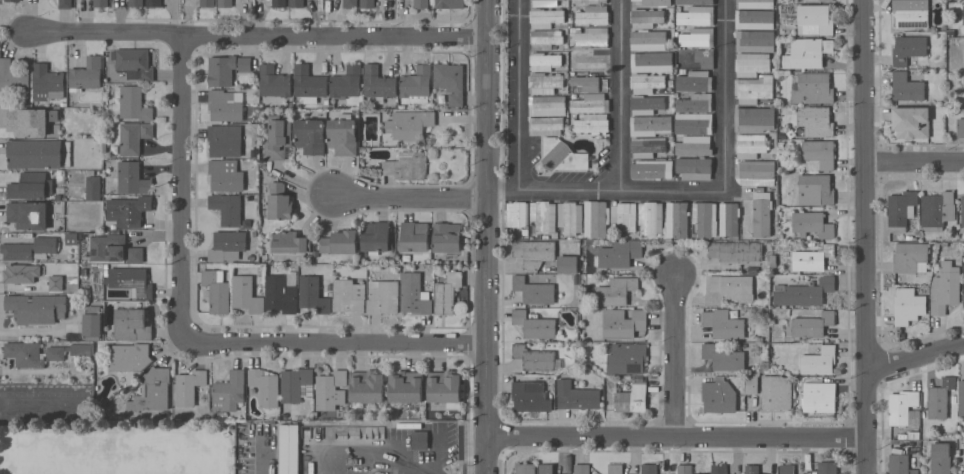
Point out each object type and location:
building: (12, 0)
building: (814, 0)
building: (591, 1)
building: (136, 2)
building: (696, 2)
building: (100, 3)
building: (154, 3)
building: (207, 3)
building: (225, 3)
building: (279, 3)
building: (296, 3)
building: (350, 3)
building: (367, 3)
building: (421, 3)
building: (450, 3)
building: (549, 3)
building: (650, 3)
building: (756, 3)
building: (65, 4)
building: (911, 13)
building: (963, 14)
building: (594, 15)
building: (697, 15)
building: (546, 17)
building: (646, 17)
building: (754, 18)
building: (816, 19)
road: (259, 35)
building: (589, 36)
building: (698, 37)
building: (546, 38)
building: (649, 39)
building: (755, 40)
building: (908, 48)
building: (808, 52)
building: (705, 57)
building: (589, 59)
building: (544, 61)
building: (652, 61)
building: (134, 63)
building: (752, 63)
building: (226, 69)
building: (86, 74)
building: (13, 77)
building: (274, 81)
building: (450, 81)
building: (586, 81)
building: (695, 81)
building: (545, 82)
building: (647, 82)
building: (47, 83)
building: (346, 83)
building: (378, 83)
building: (309, 84)
building: (416, 85)
building: (907, 87)
building: (754, 88)
building: (813, 88)
road: (726, 94)
road: (620, 96)
road: (523, 97)
building: (132, 102)
building: (695, 102)
building: (590, 103)
building: (646, 104)
building: (225, 105)
building: (548, 105)
building: (754, 118)
building: (31, 120)
building: (816, 120)
building: (911, 121)
building: (592, 123)
building: (693, 123)
building: (410, 124)
building: (650, 124)
building: (547, 125)
building: (960, 127)
building: (343, 134)
building: (310, 135)
building: (133, 136)
building: (277, 137)
building: (225, 139)
building: (751, 144)
building: (694, 145)
building: (647, 146)
building: (34, 153)
building: (818, 154)
building: (562, 155)
building: (406, 165)
road: (915, 165)
building: (695, 167)
building: (652, 168)
building: (756, 172)
building: (226, 174)
building: (132, 178)
building: (31, 185)
road: (185, 186)
building: (93, 187)
building: (816, 189)
road: (607, 192)
road: (406, 194)
building: (280, 201)
building: (227, 208)
building: (901, 209)
building: (937, 209)
building: (129, 210)
building: (963, 210)
building: (762, 212)
building: (517, 213)
building: (28, 214)
building: (624, 215)
building: (543, 216)
building: (570, 217)
building: (651, 217)
building: (596, 218)
building: (705, 218)
building: (677, 219)
building: (729, 219)
building: (812, 224)
building: (376, 236)
building: (414, 236)
building: (447, 236)
road: (487, 237)
road: (868, 237)
building: (71, 238)
building: (291, 241)
building: (340, 241)
building: (227, 245)
building: (107, 247)
building: (30, 248)
building: (735, 251)
building: (534, 252)
building: (135, 254)
building: (617, 254)
building: (910, 256)
building: (812, 258)
building: (568, 263)
building: (47, 268)
building: (16, 273)
building: (131, 281)
building: (56, 282)
building: (733, 285)
building: (945, 287)
building: (217, 290)
building: (534, 290)
building: (615, 291)
building: (804, 291)
building: (447, 292)
building: (246, 294)
building: (313, 294)
building: (281, 295)
building: (348, 295)
building: (383, 296)
building: (414, 297)
building: (908, 305)
building: (37, 307)
building: (623, 322)
building: (92, 323)
building: (131, 324)
building: (534, 324)
building: (725, 324)
building: (812, 324)
road: (336, 339)
building: (82, 349)
building: (56, 352)
building: (25, 353)
road: (674, 353)
road: (918, 355)
building: (129, 357)
building: (534, 357)
building: (627, 358)
building: (724, 358)
building: (819, 359)
building: (752, 381)
building: (296, 384)
building: (189, 386)
building: (265, 386)
building: (367, 386)
building: (406, 386)
building: (445, 387)
building: (331, 388)
building: (153, 389)
building: (229, 391)
building: (776, 392)
building: (578, 395)
building: (719, 395)
building: (530, 396)
building: (632, 396)
building: (819, 396)
building: (961, 397)
building: (939, 398)
road: (44, 403)
parking lot: (46, 403)
building: (902, 406)
road: (673, 432)
park: (102, 437)
building: (419, 439)
building: (289, 449)
road: (381, 449)
road: (265, 452)
building: (940, 458)
building: (900, 464)
building: (827, 467)
building: (525, 468)
building: (546, 468)
building: (582, 468)
building: (615, 468)
building: (649, 468)
building: (786, 468)
building: (686, 469)
building: (719, 469)
building: (752, 469)
building: (561, 473)

